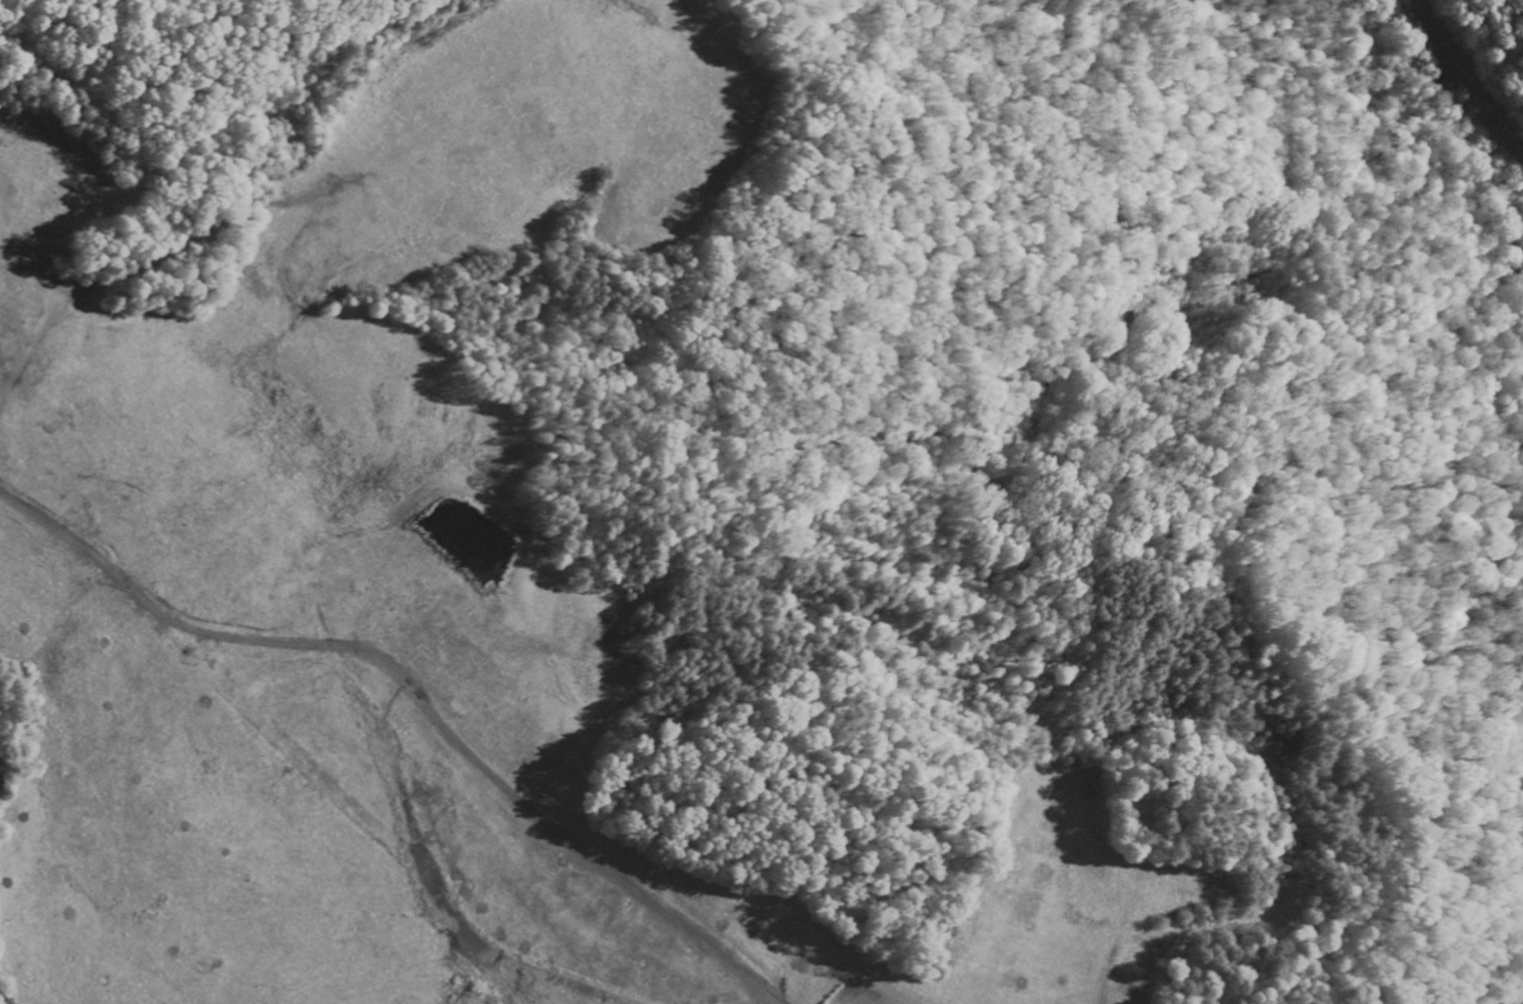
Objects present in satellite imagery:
road: (1490, 61)
road: (416, 689)
road: (1104, 803)

